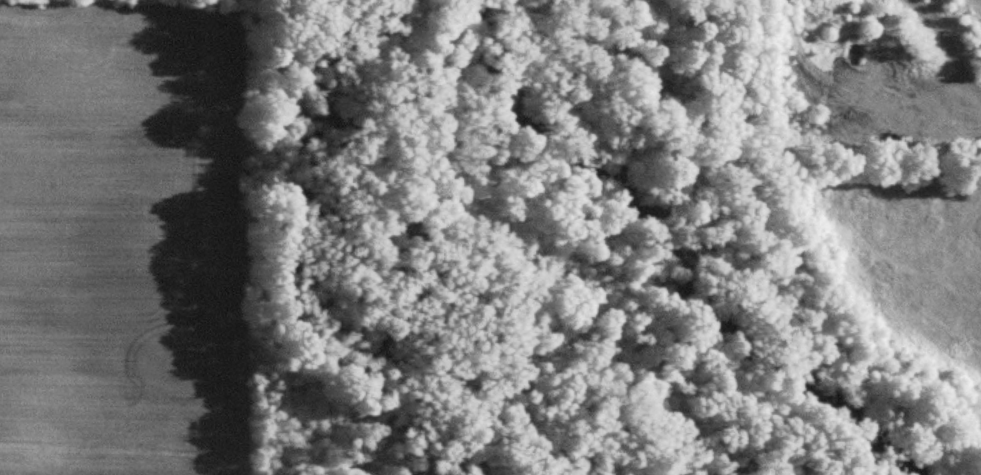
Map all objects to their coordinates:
river: (668, 237)

